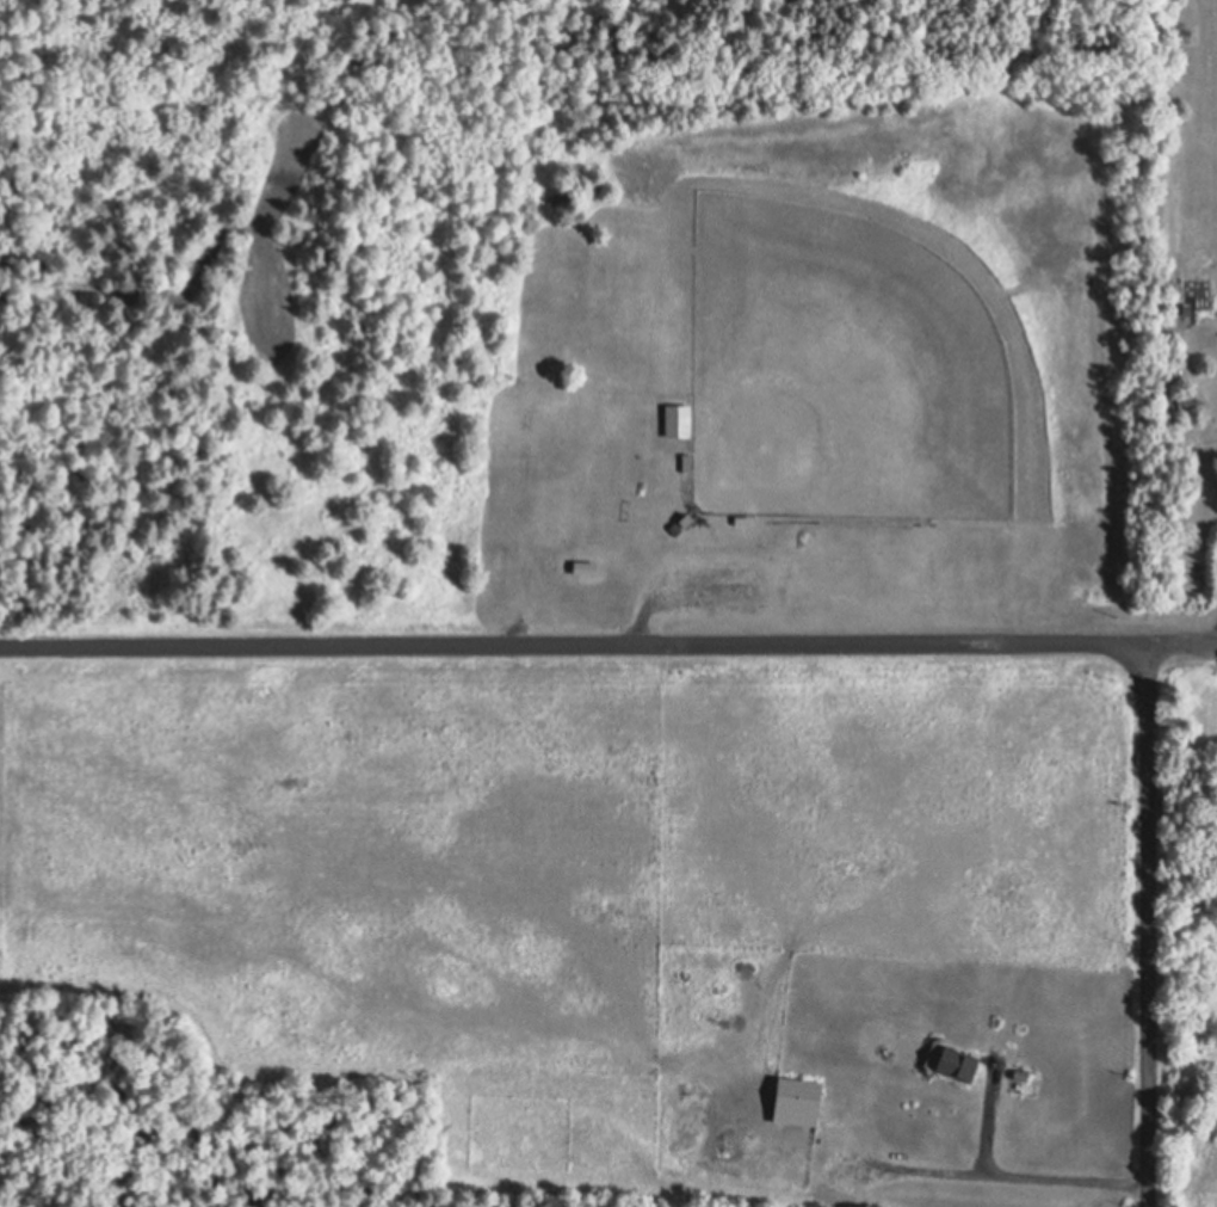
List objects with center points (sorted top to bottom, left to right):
park: (802, 371)
building: (679, 418)
building: (688, 460)
building: (746, 518)
building: (748, 523)
building: (586, 565)
building: (591, 571)
road: (576, 642)
road: (1186, 643)
road: (1153, 925)
building: (959, 1061)
building: (801, 1100)

